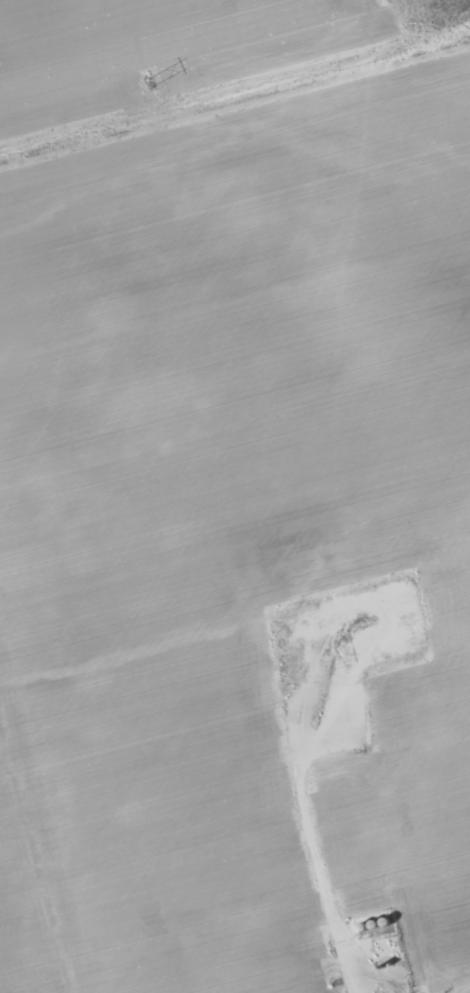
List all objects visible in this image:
power tower: (152, 81)
road: (37, 860)

